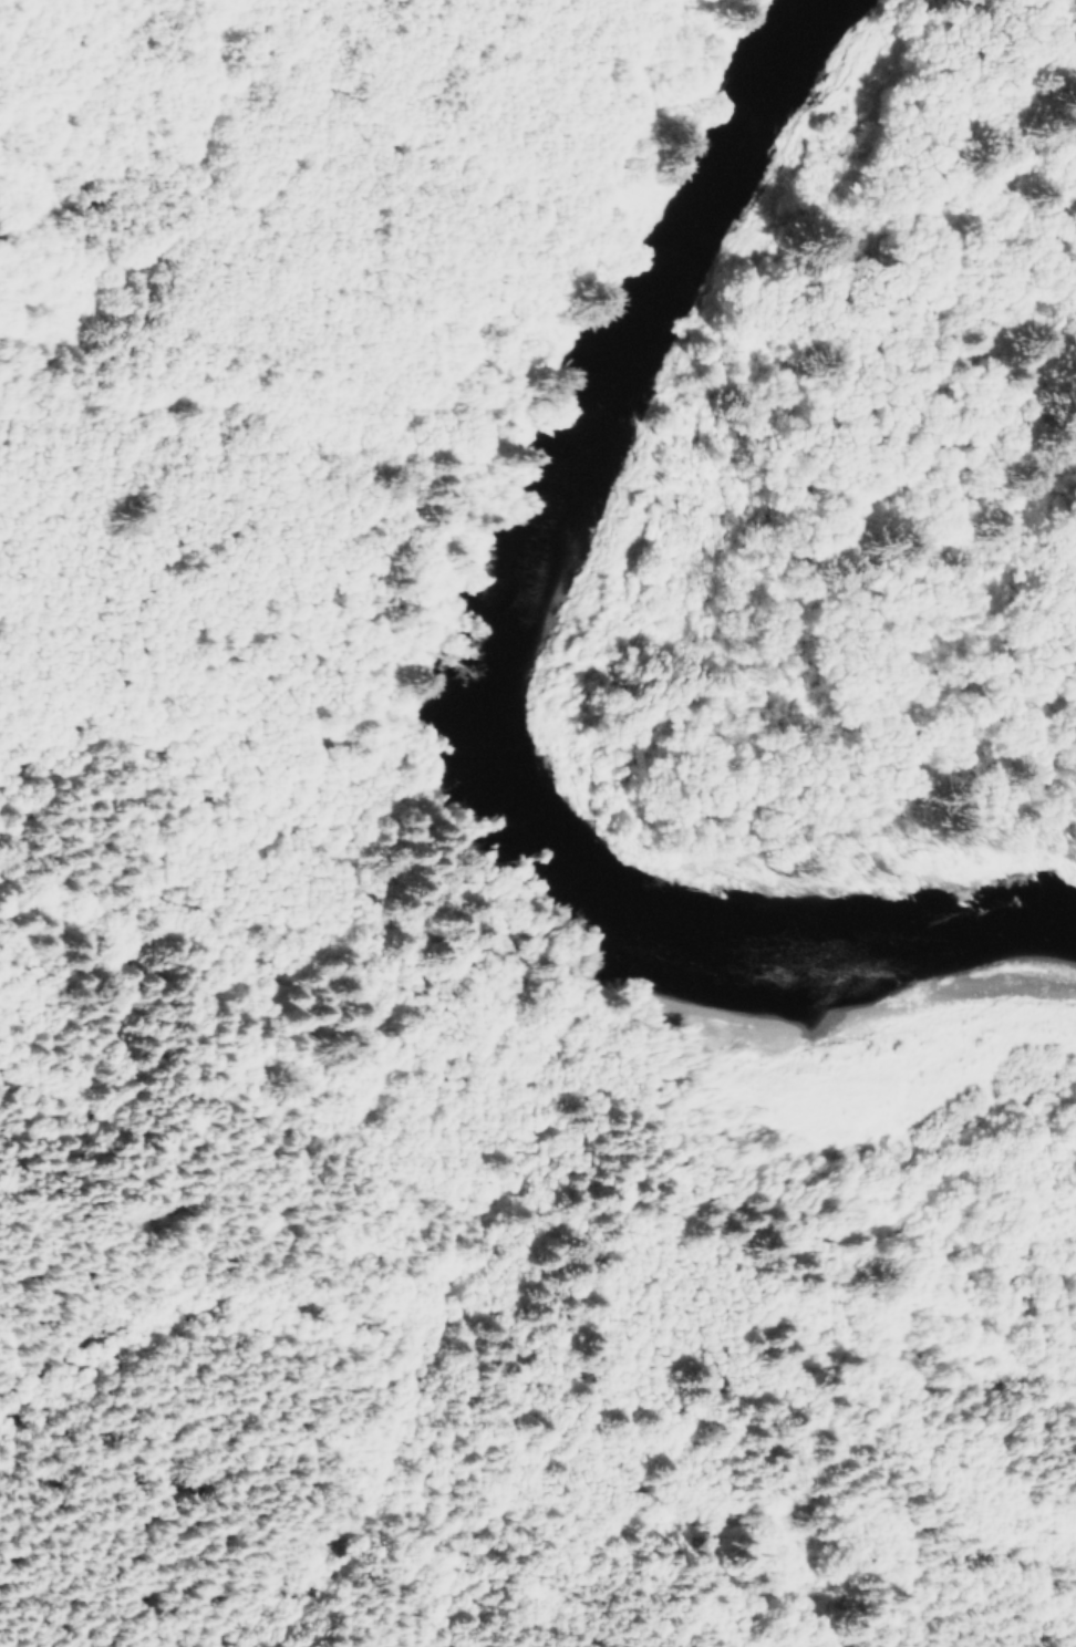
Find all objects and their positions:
river: (520, 682)

